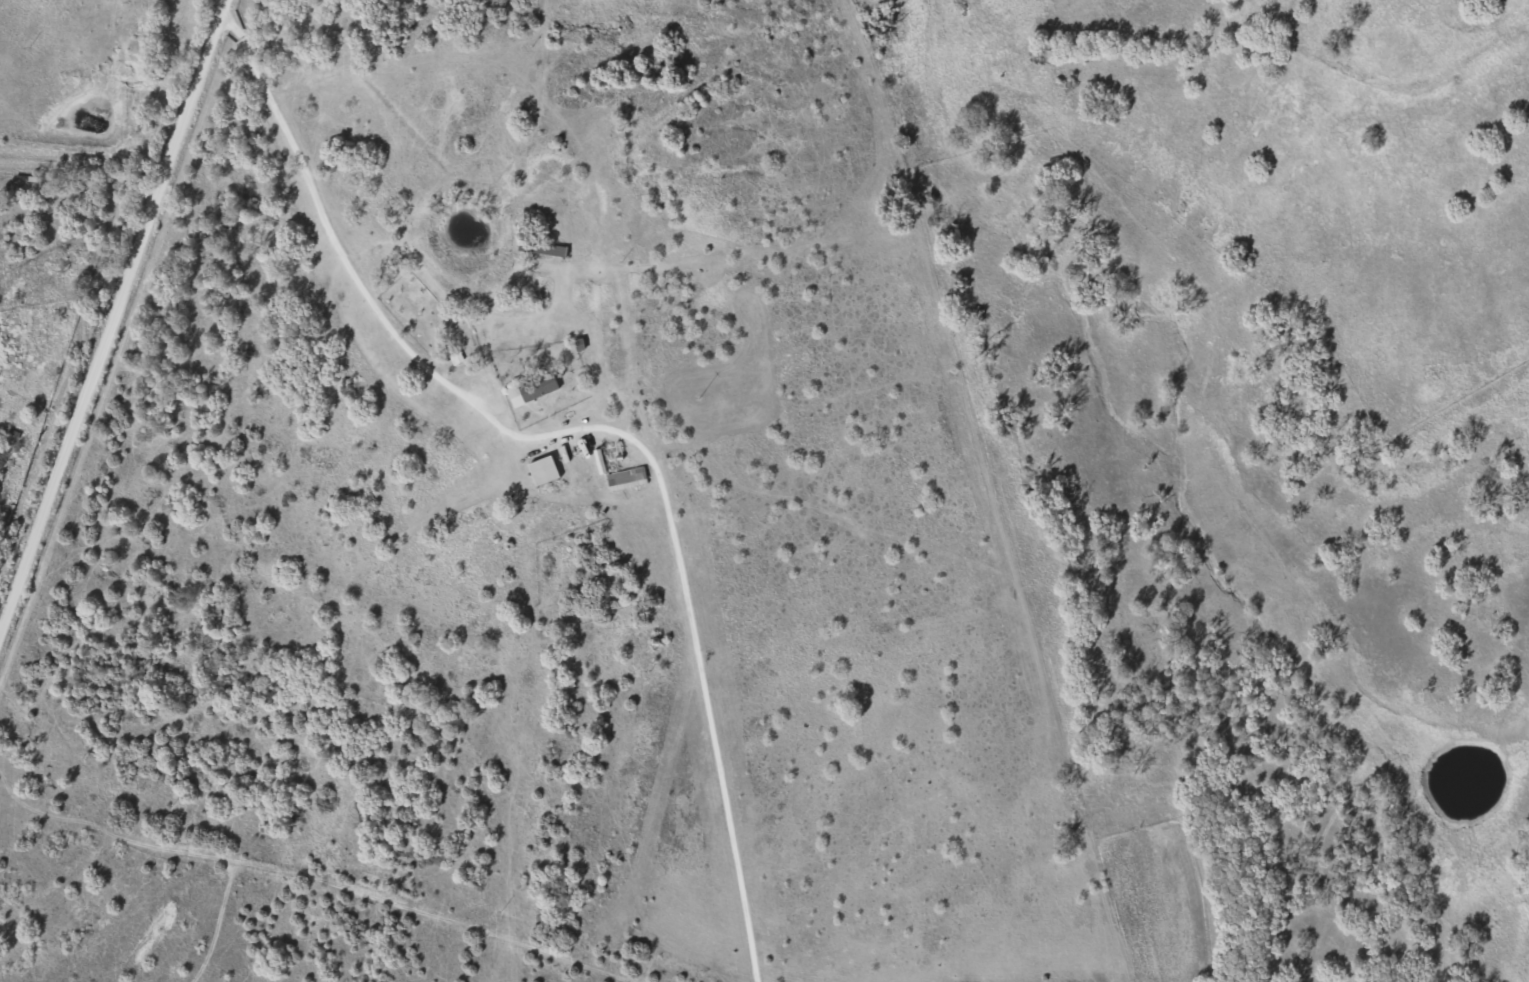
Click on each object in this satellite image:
building: (544, 246)
road: (113, 320)
building: (534, 387)
building: (544, 469)
building: (627, 477)

